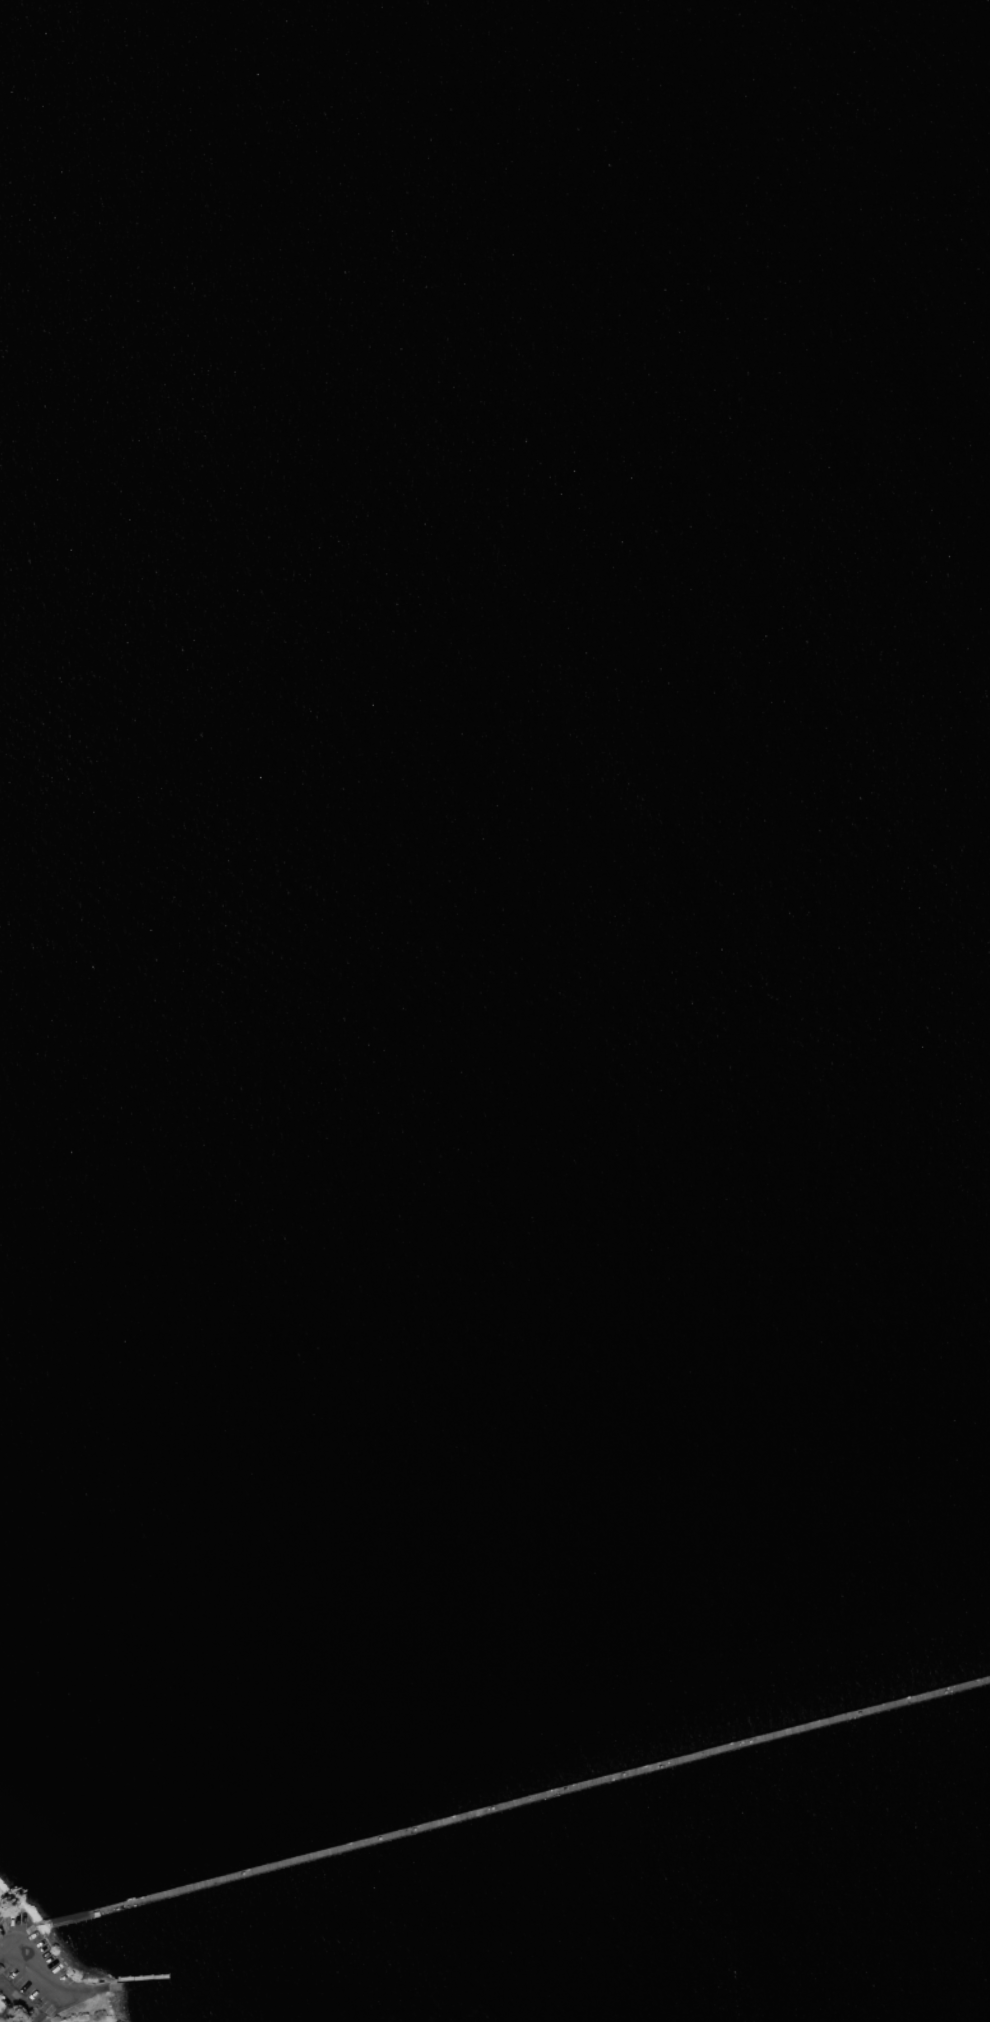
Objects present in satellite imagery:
pier: (515, 1804)
road: (507, 1807)
building: (0, 1911)
building: (0, 1915)
road: (11, 1935)
road: (35, 1968)
road: (20, 2001)

